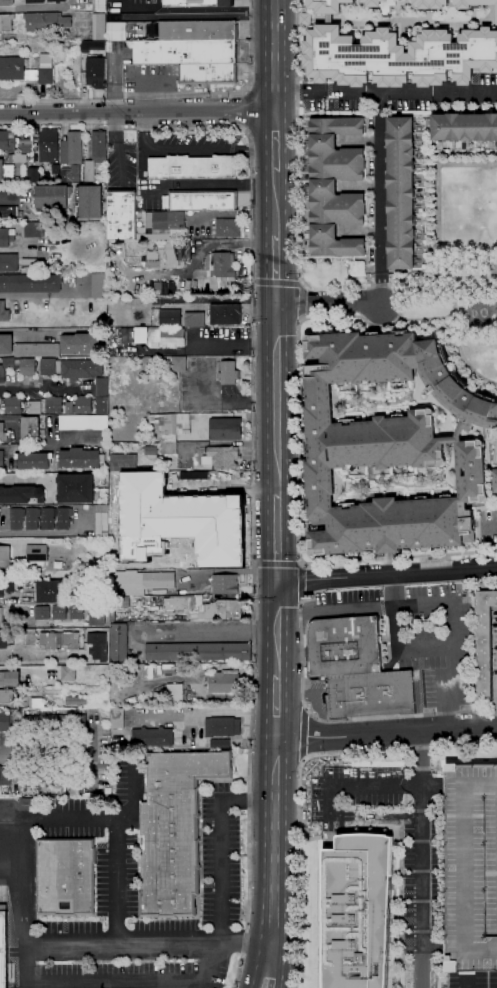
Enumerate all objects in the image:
building: (35, 1)
building: (56, 1)
building: (6, 2)
building: (198, 3)
building: (431, 4)
building: (474, 4)
building: (99, 5)
building: (381, 5)
road: (36, 6)
building: (327, 6)
building: (329, 19)
building: (6, 22)
building: (46, 22)
building: (98, 26)
building: (115, 30)
building: (197, 30)
road: (41, 35)
building: (92, 46)
building: (184, 51)
road: (274, 55)
building: (398, 57)
building: (45, 68)
building: (16, 69)
building: (96, 72)
building: (207, 73)
road: (299, 89)
road: (410, 92)
road: (168, 95)
road: (244, 110)
road: (137, 112)
building: (464, 127)
road: (274, 140)
building: (7, 141)
building: (25, 145)
building: (48, 145)
road: (117, 147)
building: (71, 149)
road: (192, 150)
building: (95, 154)
building: (17, 159)
road: (461, 164)
building: (191, 167)
building: (5, 169)
building: (55, 169)
building: (70, 174)
building: (33, 175)
road: (379, 182)
road: (425, 186)
building: (335, 187)
building: (401, 192)
road: (7, 194)
building: (50, 197)
building: (203, 200)
building: (88, 201)
road: (274, 202)
building: (9, 212)
building: (122, 216)
building: (165, 220)
road: (437, 221)
building: (227, 228)
building: (34, 229)
road: (18, 237)
building: (153, 237)
building: (5, 238)
building: (183, 251)
park: (460, 259)
building: (8, 262)
building: (220, 264)
building: (29, 265)
building: (357, 268)
road: (275, 270)
building: (30, 283)
road: (275, 283)
road: (301, 283)
road: (303, 285)
building: (99, 286)
road: (379, 288)
road: (449, 291)
road: (40, 295)
road: (302, 301)
road: (329, 303)
traffic signals: (275, 306)
building: (4, 312)
building: (225, 314)
building: (169, 317)
road: (339, 317)
road: (301, 318)
road: (426, 318)
building: (194, 319)
road: (378, 320)
building: (31, 321)
road: (29, 331)
building: (141, 336)
building: (165, 338)
building: (6, 344)
building: (80, 344)
road: (458, 347)
building: (37, 350)
building: (179, 364)
building: (18, 367)
building: (71, 368)
building: (228, 373)
building: (152, 374)
road: (37, 385)
building: (102, 391)
road: (276, 400)
building: (13, 405)
building: (53, 405)
building: (79, 405)
building: (33, 407)
building: (83, 422)
building: (226, 429)
building: (30, 430)
building: (170, 430)
building: (2, 432)
road: (251, 435)
building: (389, 445)
building: (150, 450)
building: (221, 457)
building: (79, 458)
building: (1, 460)
building: (34, 461)
building: (123, 463)
road: (22, 478)
building: (494, 480)
building: (74, 488)
building: (21, 494)
building: (17, 518)
building: (32, 518)
building: (48, 518)
building: (63, 518)
building: (101, 520)
building: (180, 521)
road: (277, 539)
building: (36, 545)
building: (5, 557)
road: (301, 563)
road: (254, 564)
road: (277, 564)
road: (387, 576)
building: (138, 582)
road: (300, 582)
building: (225, 584)
traffic signals: (278, 584)
building: (9, 586)
building: (458, 589)
building: (49, 592)
building: (1, 594)
road: (277, 598)
road: (435, 603)
building: (120, 604)
building: (205, 608)
road: (296, 611)
building: (42, 612)
building: (76, 612)
building: (59, 613)
road: (394, 613)
building: (1, 615)
building: (96, 615)
road: (277, 622)
road: (212, 633)
building: (29, 637)
parking lot: (421, 637)
building: (3, 640)
building: (48, 641)
building: (70, 641)
building: (118, 643)
building: (484, 643)
building: (95, 645)
building: (344, 646)
road: (425, 650)
building: (198, 652)
road: (277, 653)
building: (168, 669)
building: (68, 673)
building: (4, 678)
building: (224, 682)
building: (175, 694)
building: (370, 695)
building: (7, 696)
building: (156, 698)
building: (75, 701)
building: (36, 703)
road: (277, 706)
road: (306, 711)
building: (90, 712)
road: (446, 717)
building: (117, 718)
road: (344, 719)
building: (9, 720)
building: (31, 724)
building: (222, 726)
road: (387, 732)
road: (303, 735)
building: (152, 737)
building: (219, 744)
road: (301, 761)
building: (57, 773)
building: (5, 775)
road: (299, 776)
building: (39, 793)
building: (27, 803)
building: (41, 804)
road: (50, 822)
building: (174, 831)
road: (420, 840)
road: (276, 841)
road: (221, 866)
building: (471, 868)
parking lot: (471, 868)
building: (65, 876)
road: (21, 893)
road: (403, 907)
building: (357, 911)
road: (133, 947)
road: (50, 948)
building: (3, 950)
road: (262, 965)
road: (278, 965)
road: (419, 969)
road: (466, 979)
road: (144, 985)
road: (413, 985)

